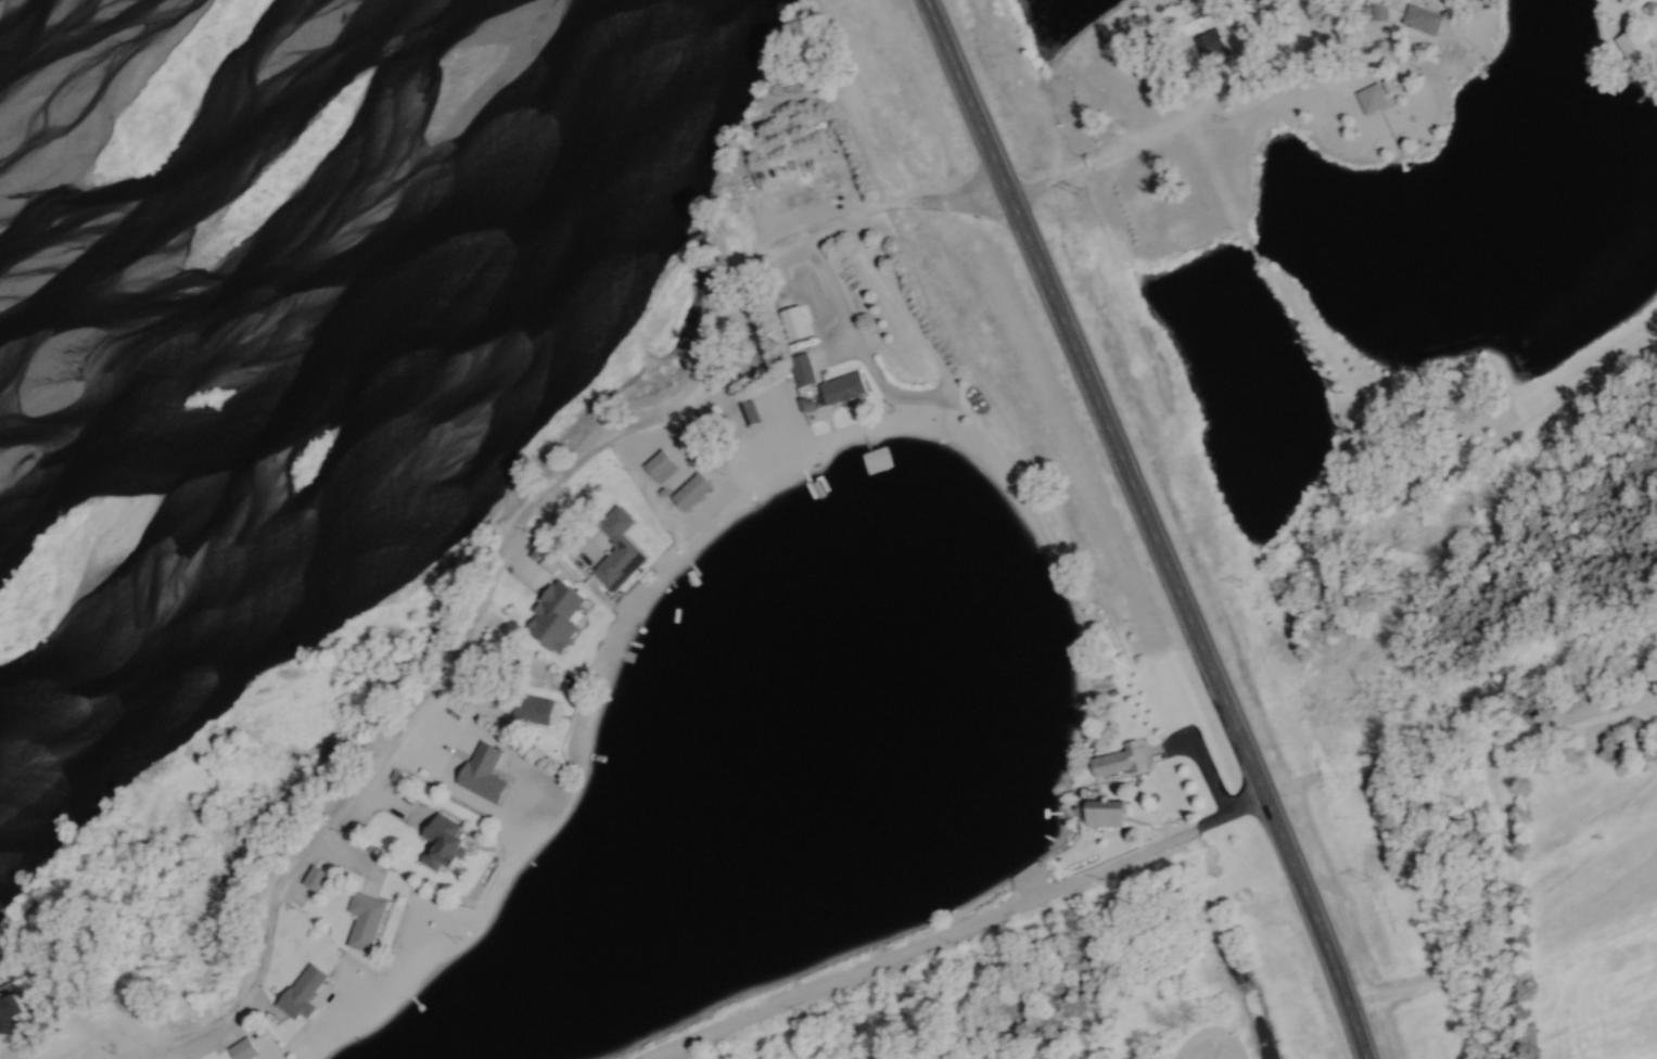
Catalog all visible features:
building: (1422, 20)
building: (1211, 44)
building: (1634, 49)
building: (1372, 99)
river: (48, 118)
road: (1177, 120)
road: (1006, 163)
road: (825, 346)
building: (804, 370)
building: (844, 387)
road: (1566, 390)
building: (1465, 407)
building: (747, 413)
building: (662, 467)
building: (693, 492)
road: (1146, 525)
road: (502, 543)
building: (625, 557)
building: (559, 615)
building: (537, 711)
building: (1135, 756)
building: (1106, 815)
building: (447, 843)
road: (1147, 850)
building: (368, 922)
road: (843, 981)
building: (306, 993)
building: (245, 1049)

